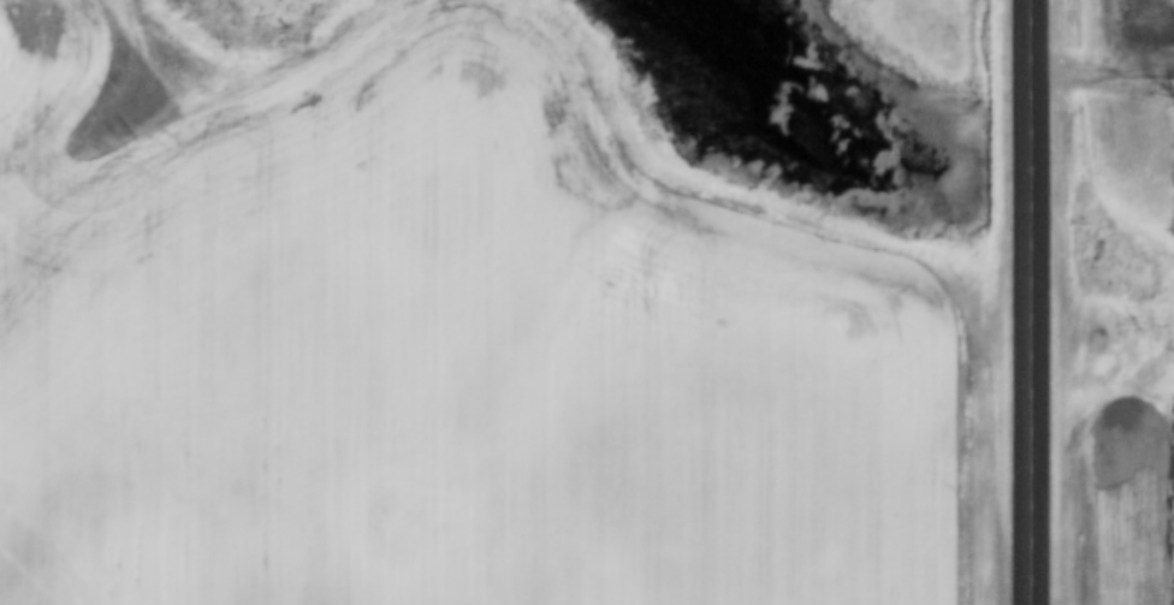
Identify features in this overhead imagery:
road: (1030, 302)

